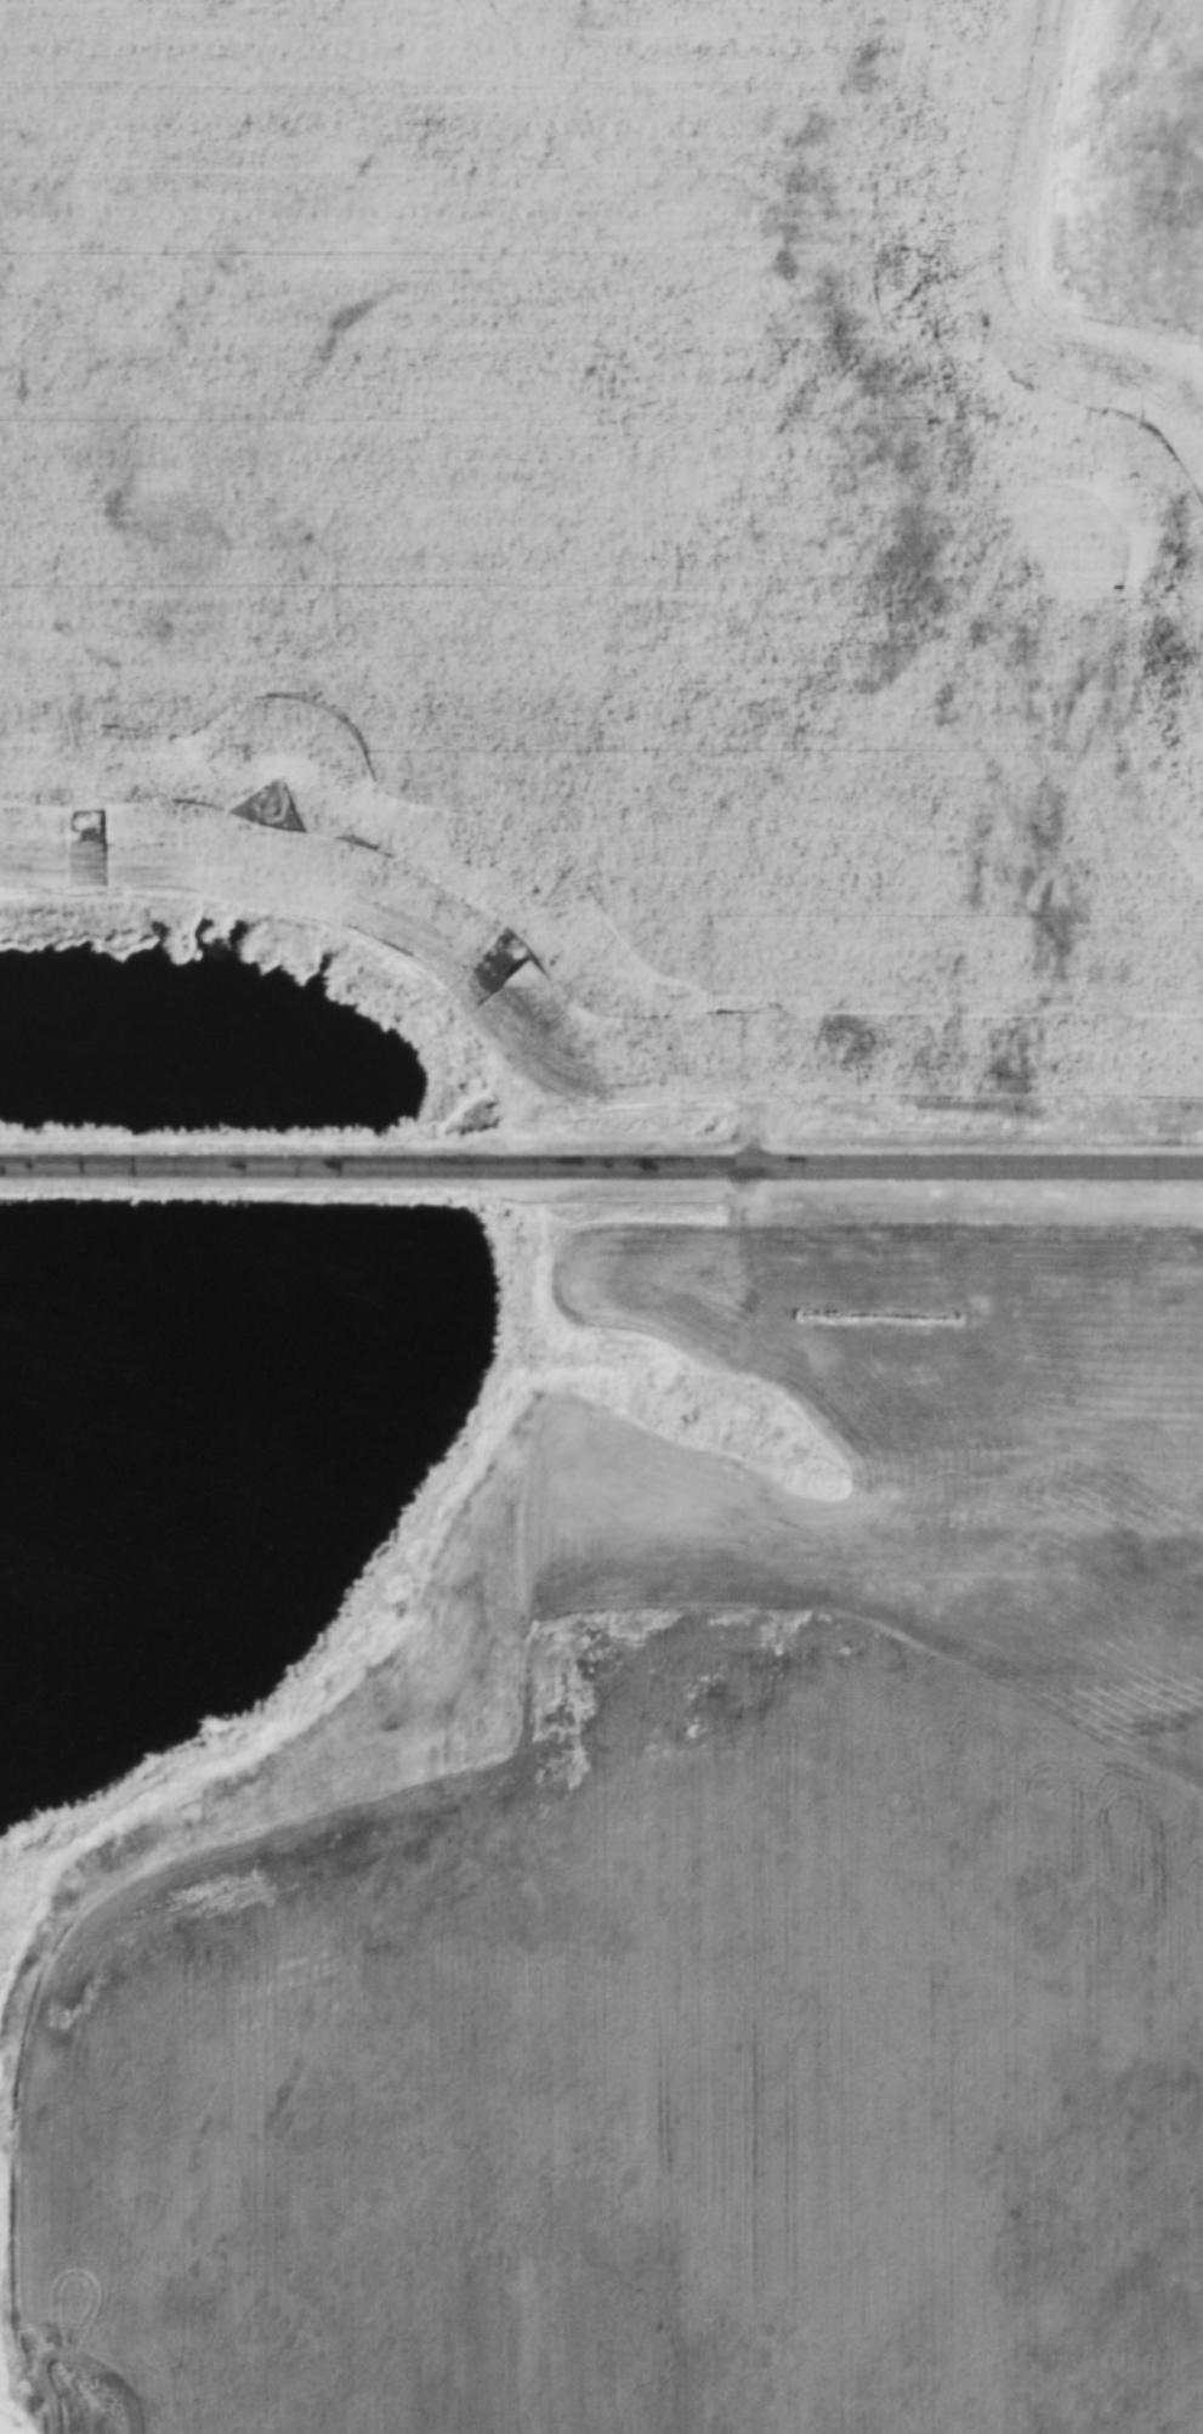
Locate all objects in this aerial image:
road: (1004, 281)
road: (942, 1087)
road: (601, 1164)

